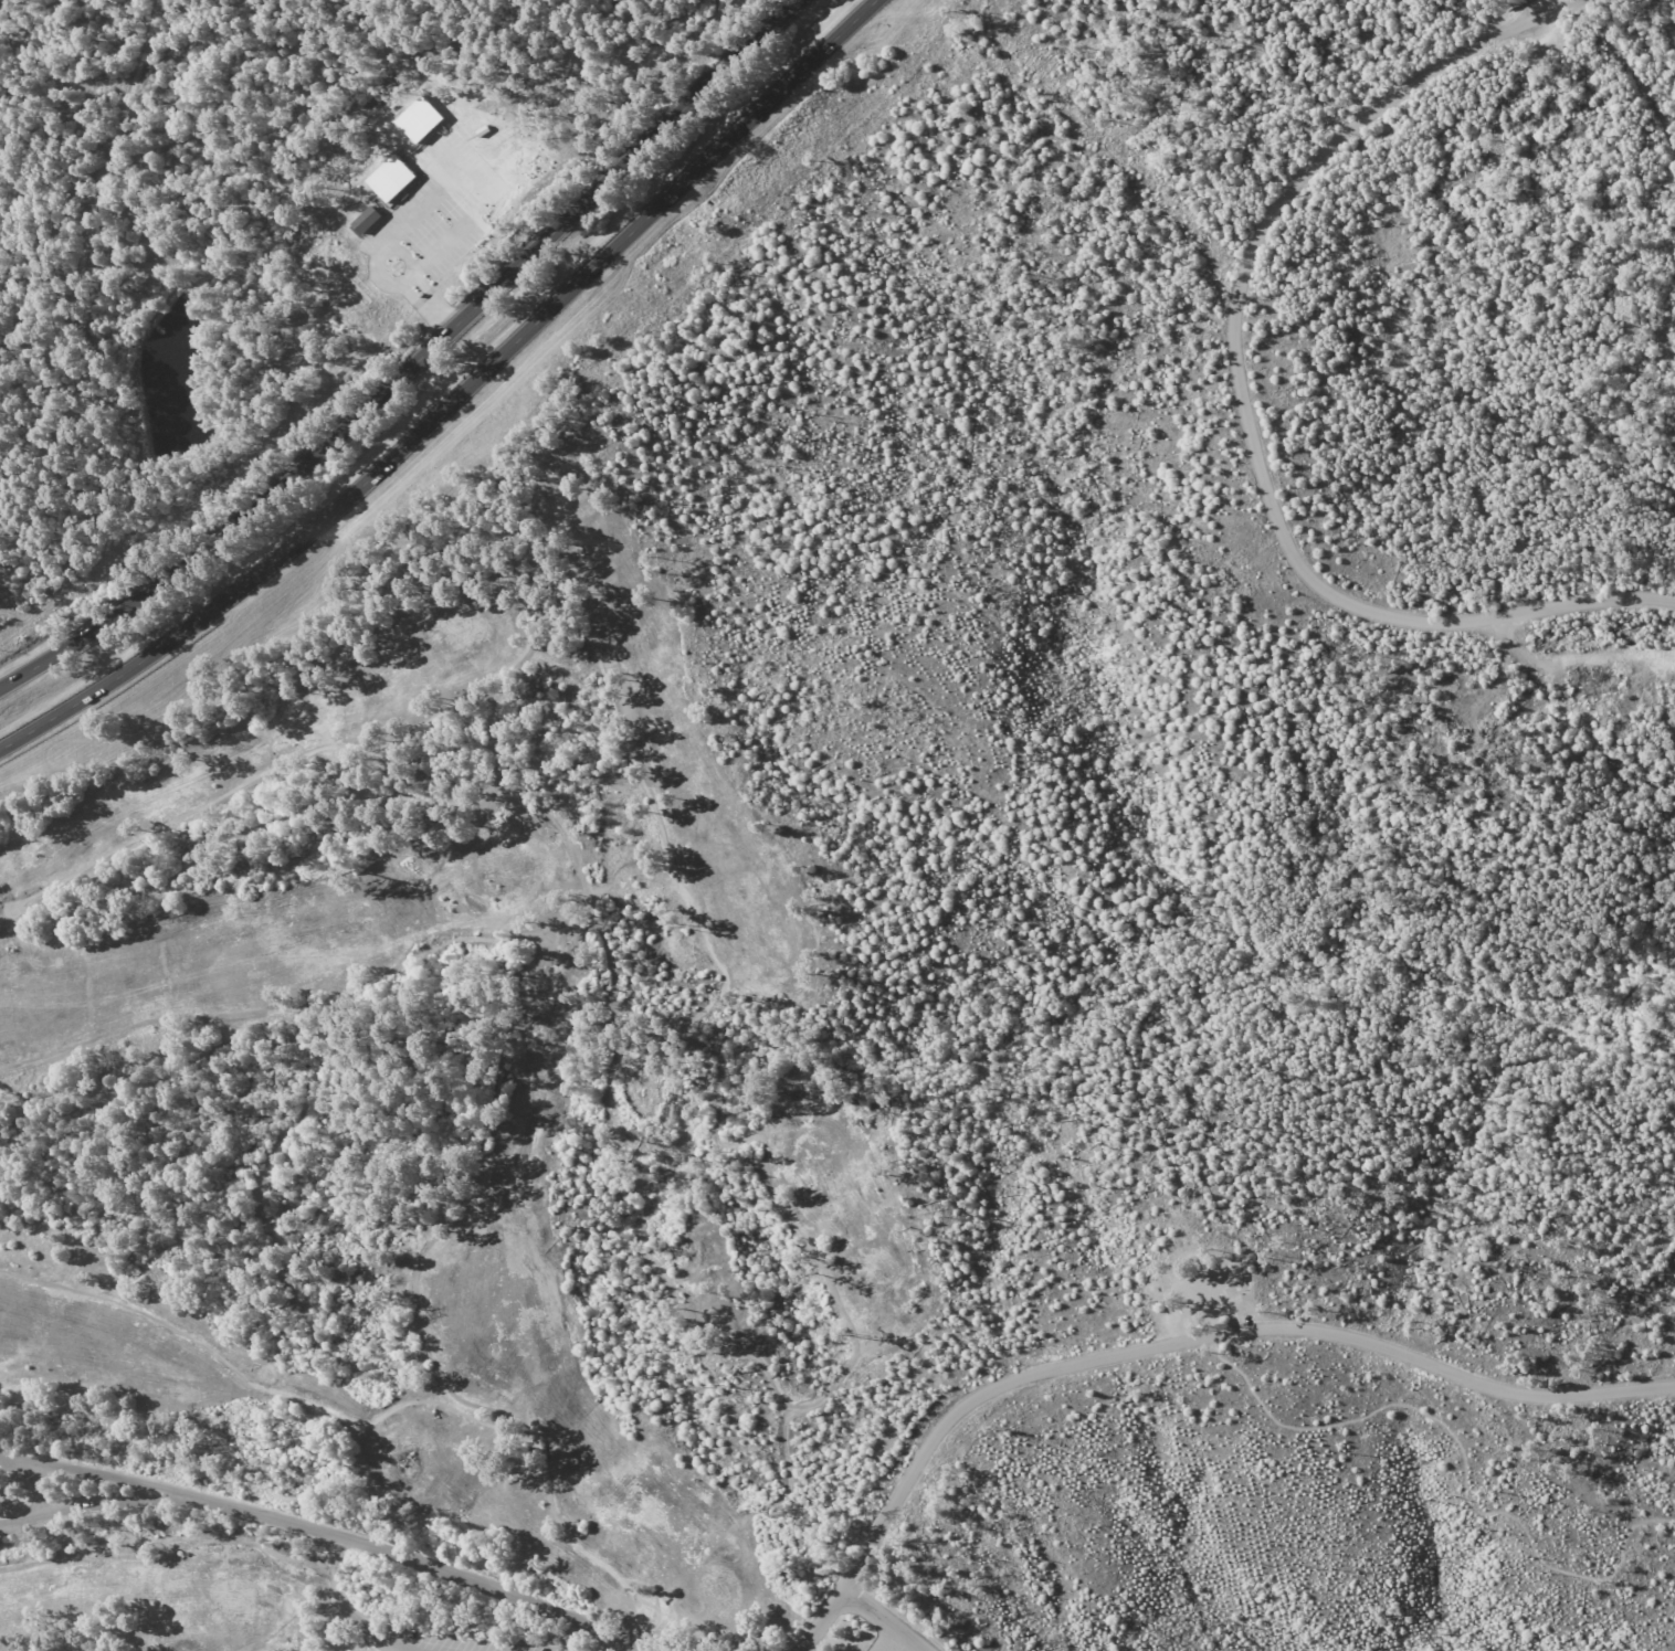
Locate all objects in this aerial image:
building: (1519, 3)
road: (725, 68)
road: (783, 87)
building: (420, 119)
building: (391, 178)
building: (366, 220)
road: (1241, 395)
road: (341, 432)
road: (359, 478)
park: (1226, 808)
park: (429, 1130)
road: (1170, 1340)
road: (1458, 1449)
road: (101, 1477)
road: (38, 1492)
road: (99, 1504)
road: (426, 1564)
road: (350, 1610)
road: (877, 1619)
parking lot: (887, 1642)
road: (609, 1644)

